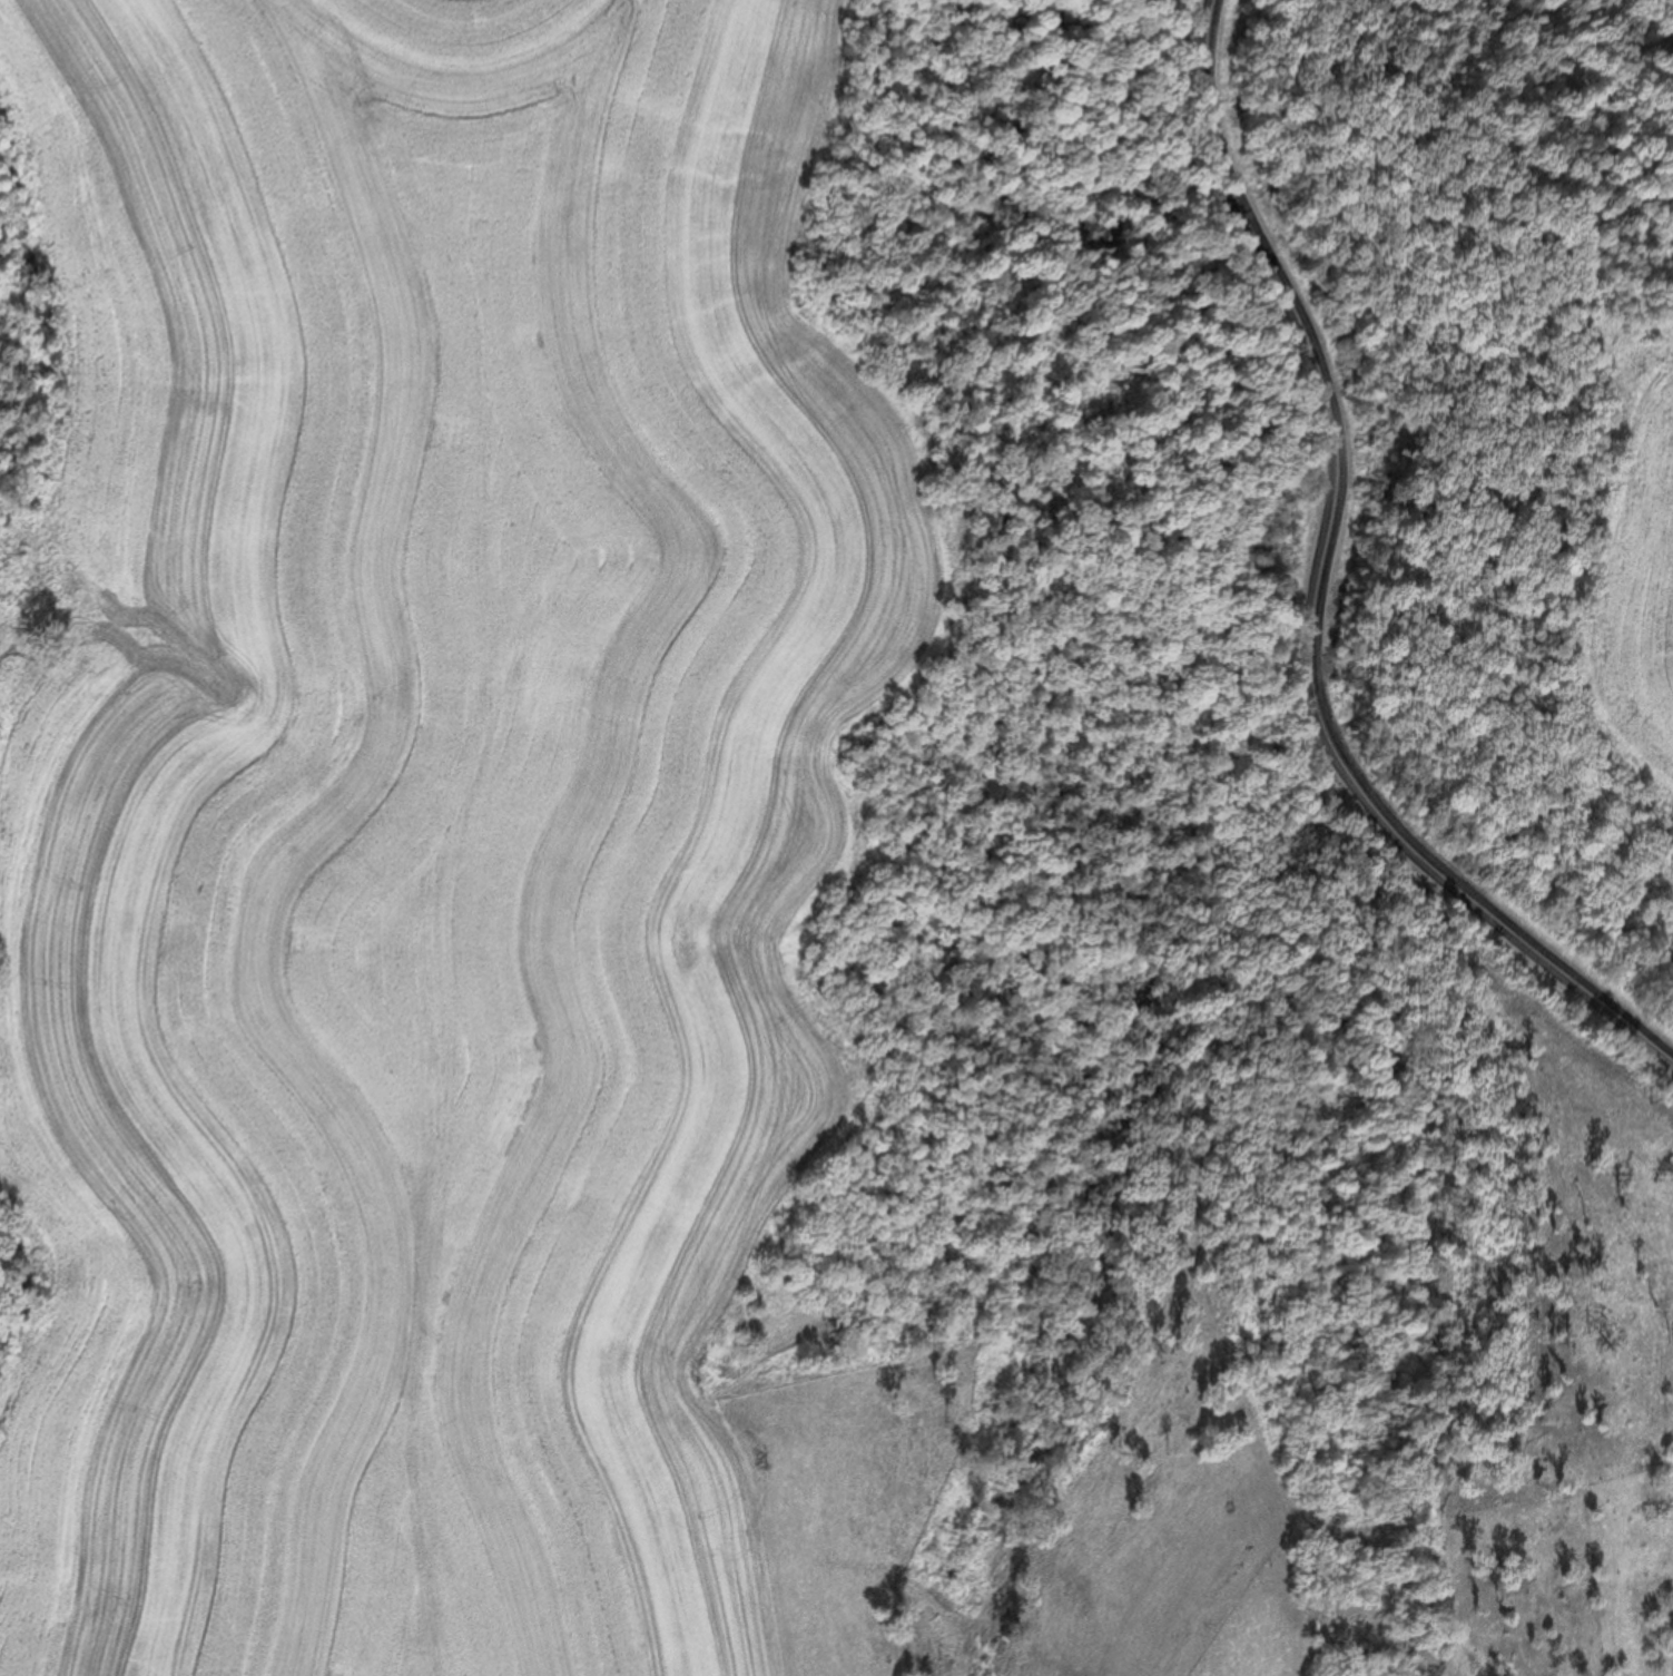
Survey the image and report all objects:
road: (1312, 596)

